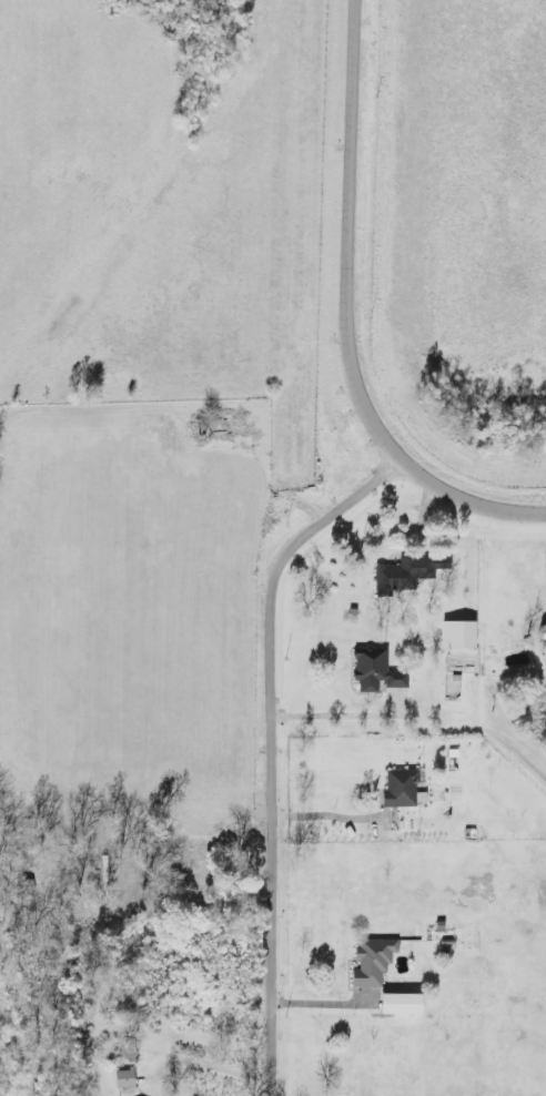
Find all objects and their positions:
road: (351, 315)
building: (410, 576)
building: (463, 636)
building: (378, 672)
road: (330, 716)
road: (275, 748)
building: (404, 789)
road: (332, 816)
building: (374, 963)
building: (405, 1004)
building: (127, 1079)

